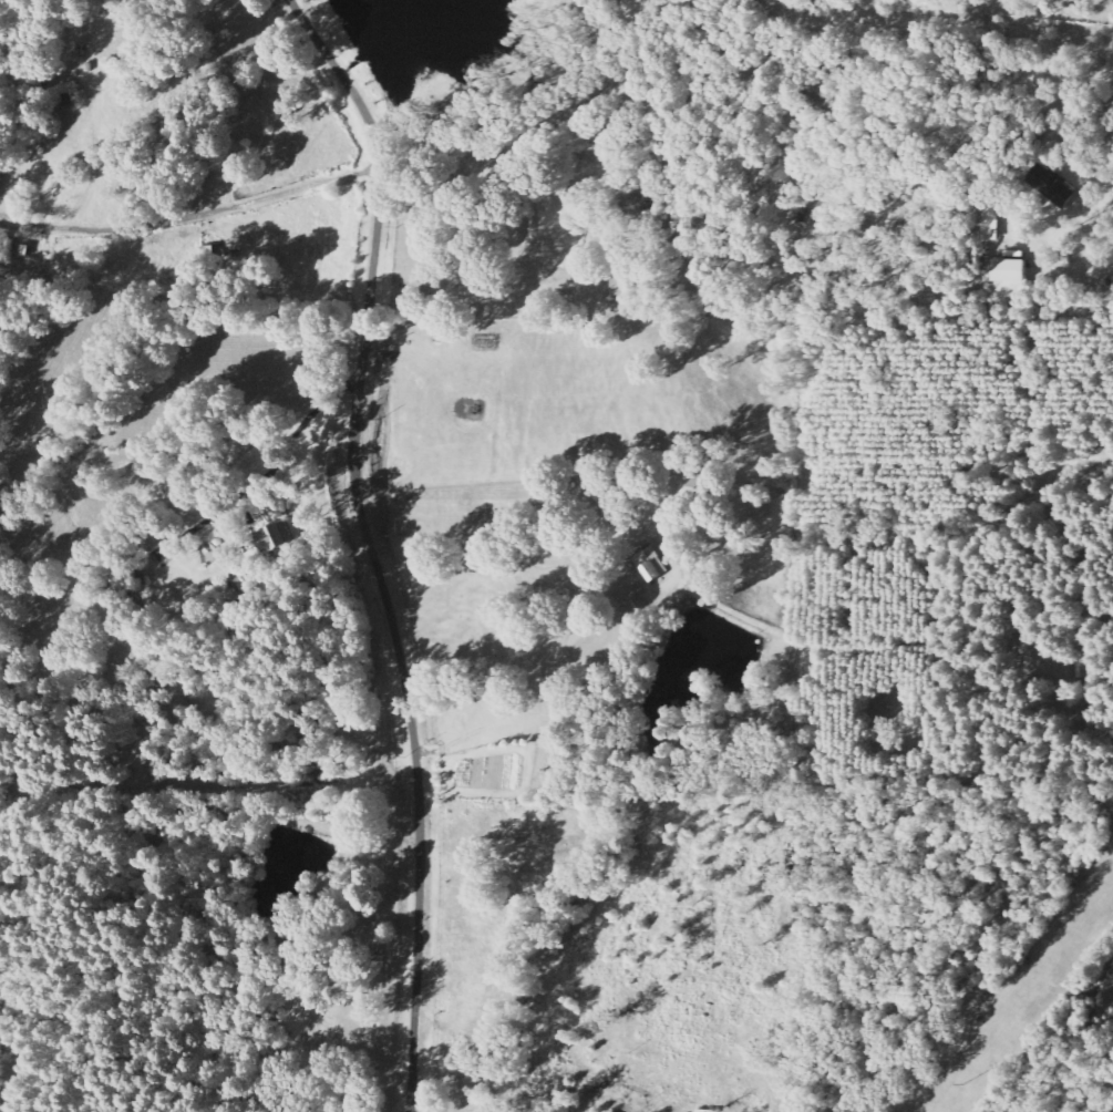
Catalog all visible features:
building: (73, 94)
building: (1054, 186)
building: (993, 225)
building: (3, 239)
building: (1016, 279)
building: (705, 490)
building: (282, 538)
road: (371, 545)

